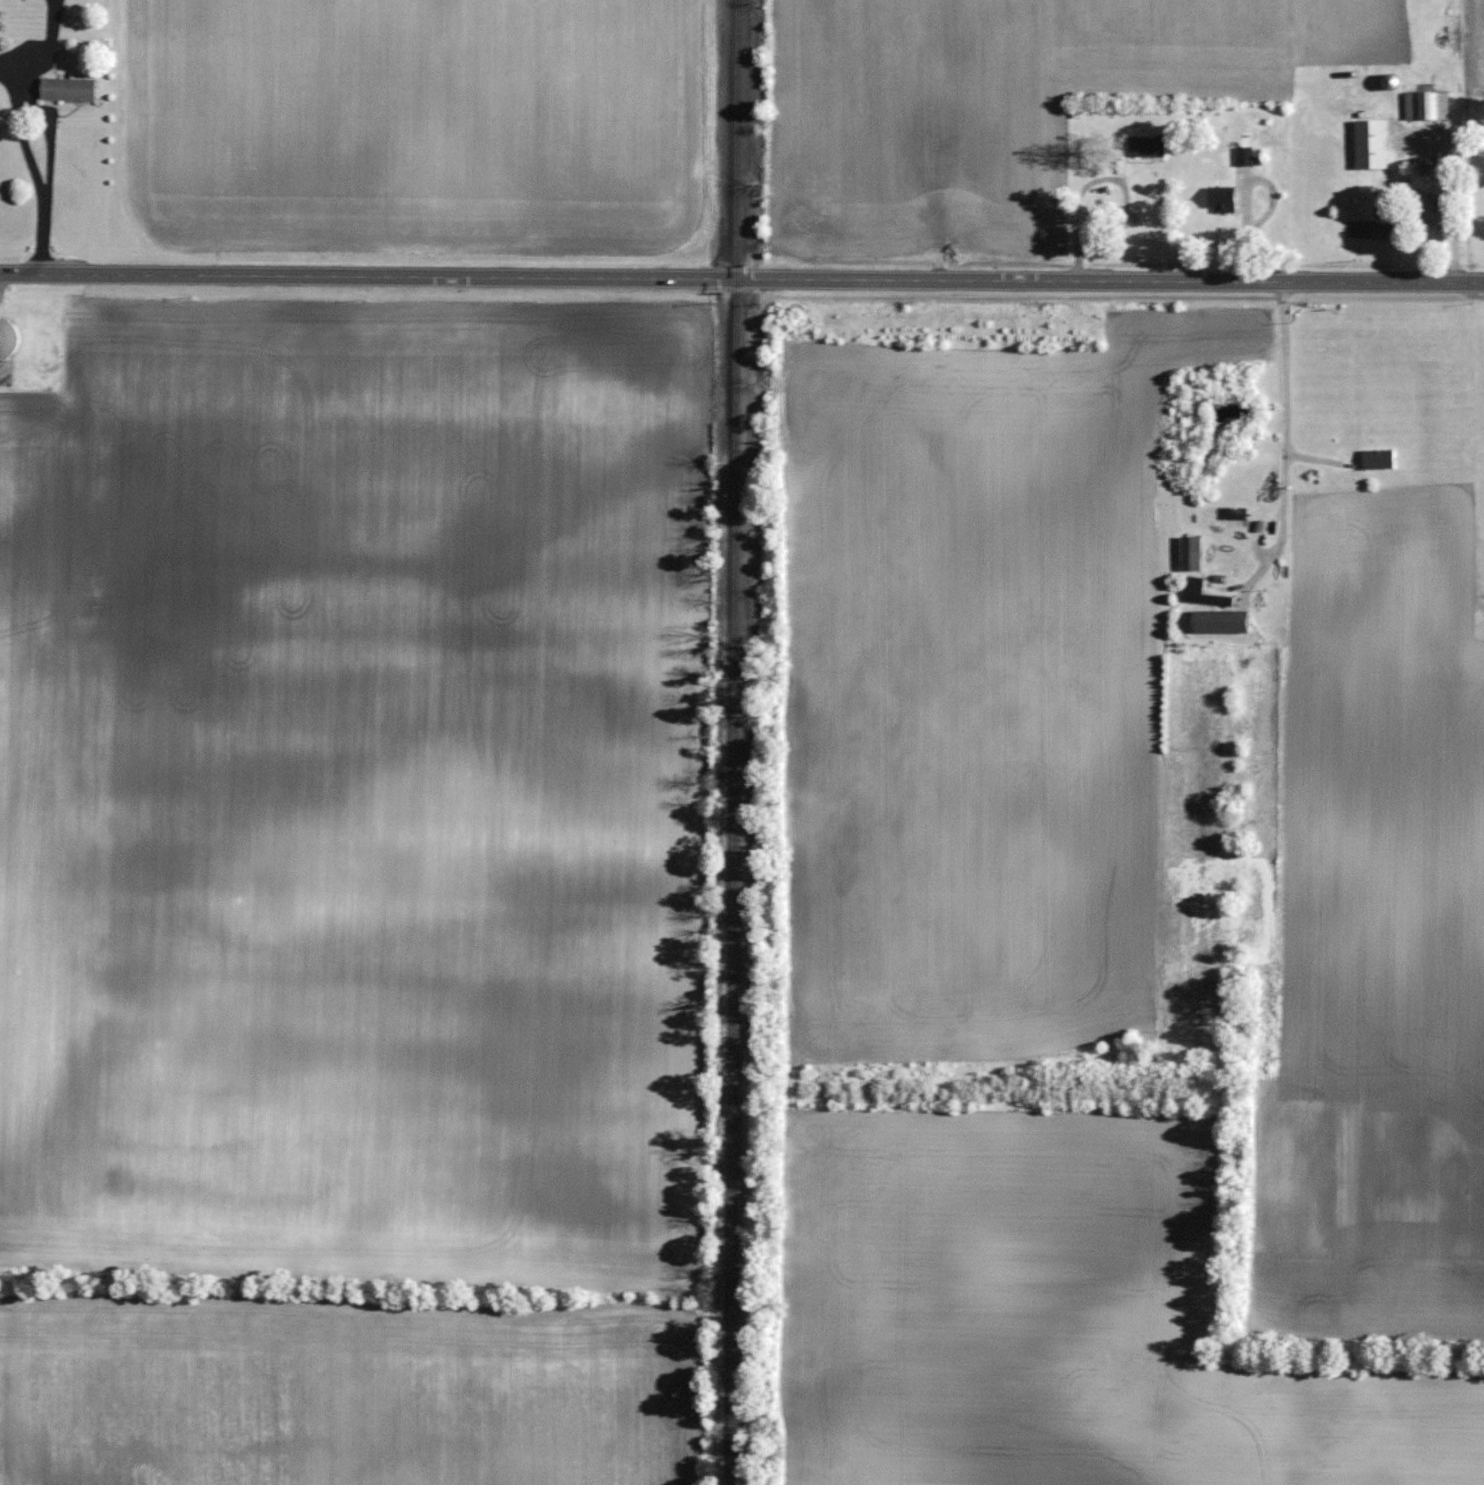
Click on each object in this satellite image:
road: (47, 43)
road: (5, 66)
building: (1388, 81)
building: (72, 89)
building: (1426, 105)
building: (1369, 143)
building: (1145, 146)
building: (1243, 155)
road: (32, 169)
road: (1108, 178)
building: (1219, 198)
building: (1426, 209)
road: (741, 279)
building: (9, 338)
road: (1283, 438)
building: (1375, 458)
building: (1188, 551)
building: (1193, 587)
railway: (734, 742)

